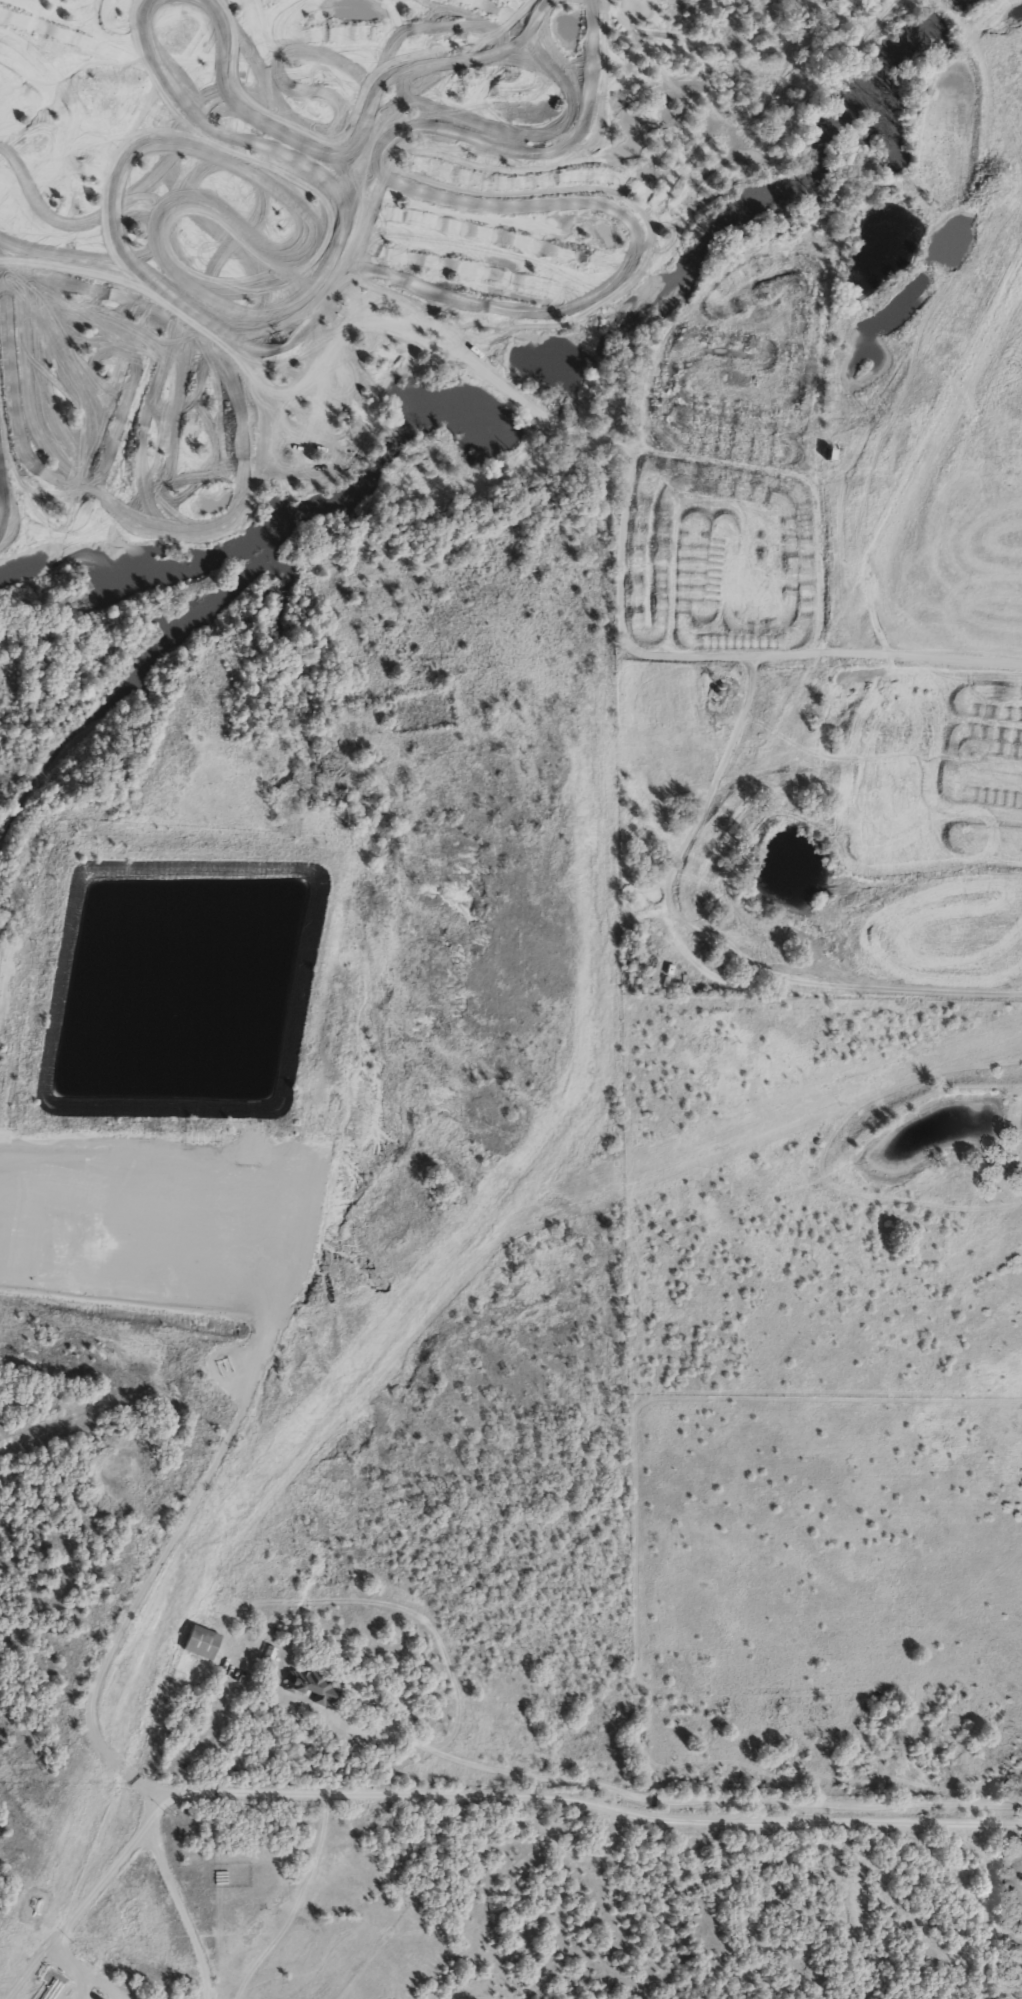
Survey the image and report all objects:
road: (625, 641)
building: (200, 1642)
building: (308, 1684)
road: (665, 1802)
road: (576, 1804)
road: (189, 1909)
road: (79, 1915)
road: (35, 1967)

